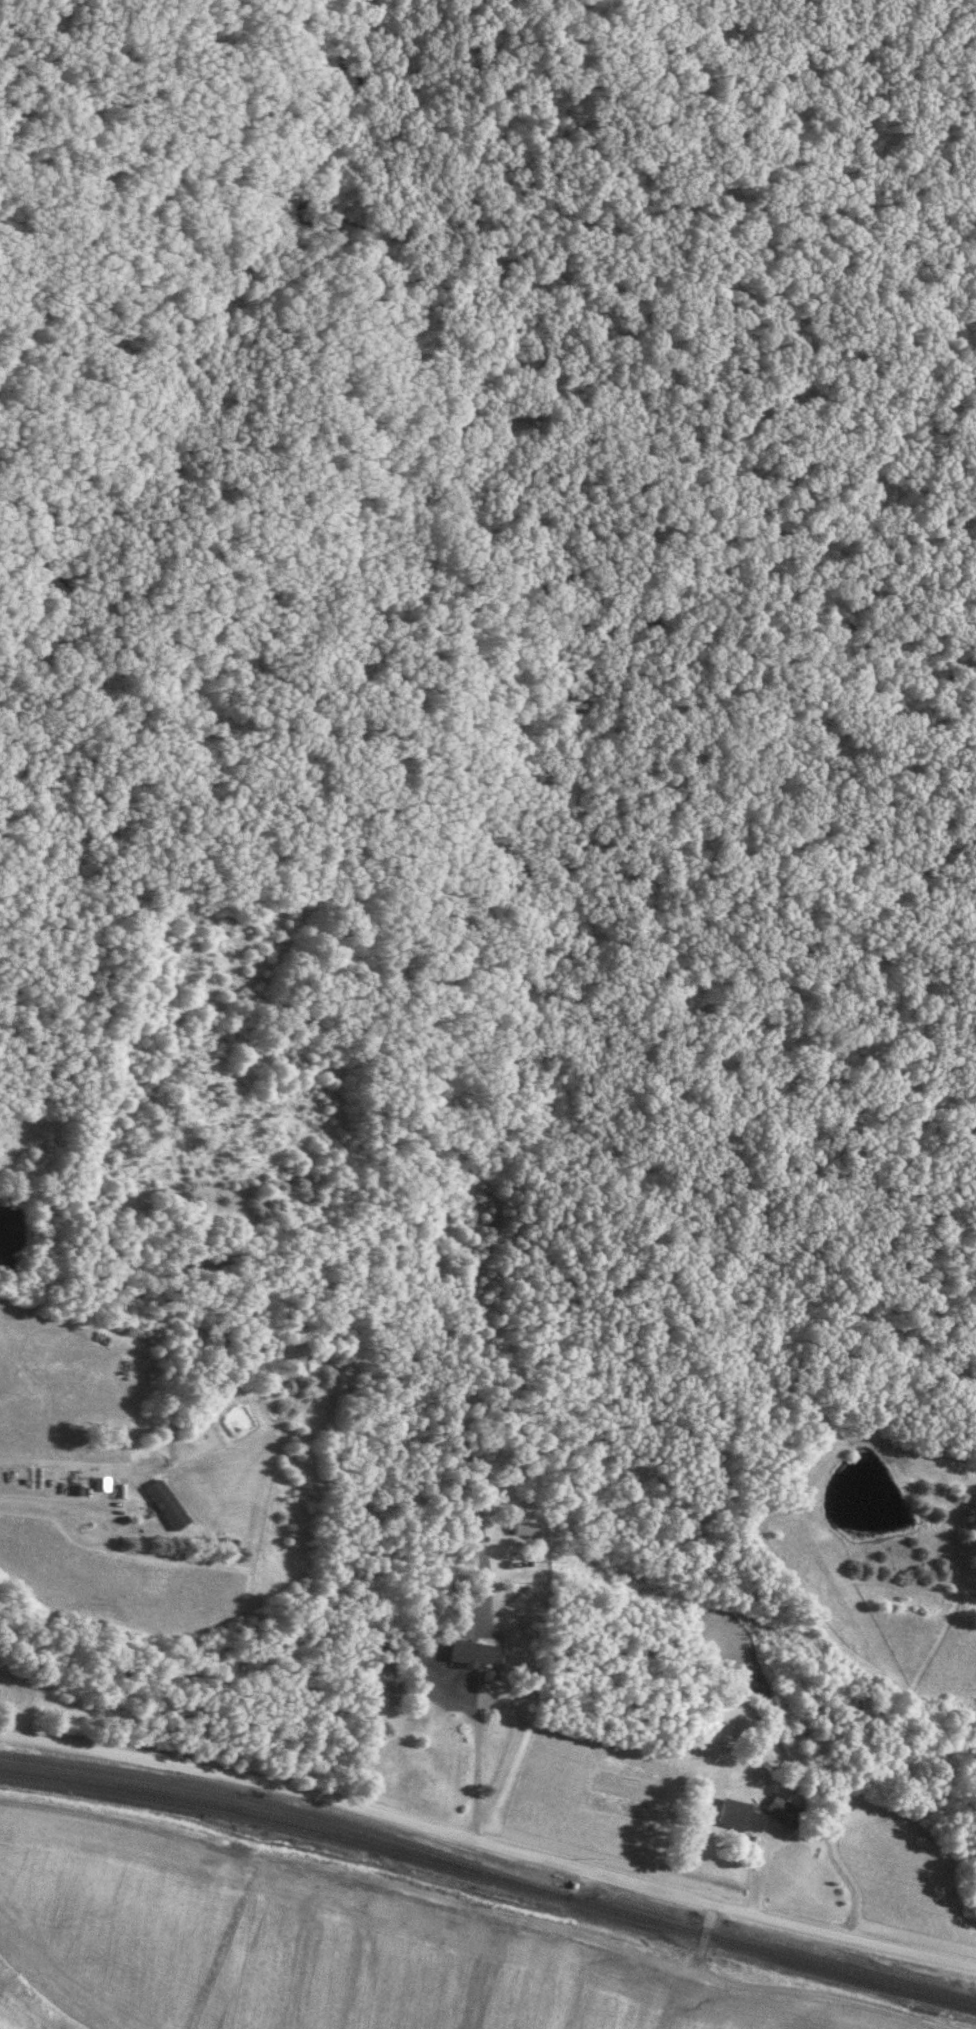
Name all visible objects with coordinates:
road: (47, 1501)
building: (172, 1522)
building: (520, 1528)
building: (470, 1651)
road: (475, 1759)
railway: (278, 1809)
building: (779, 1809)
building: (736, 1816)
road: (488, 1847)
railway: (489, 1879)

